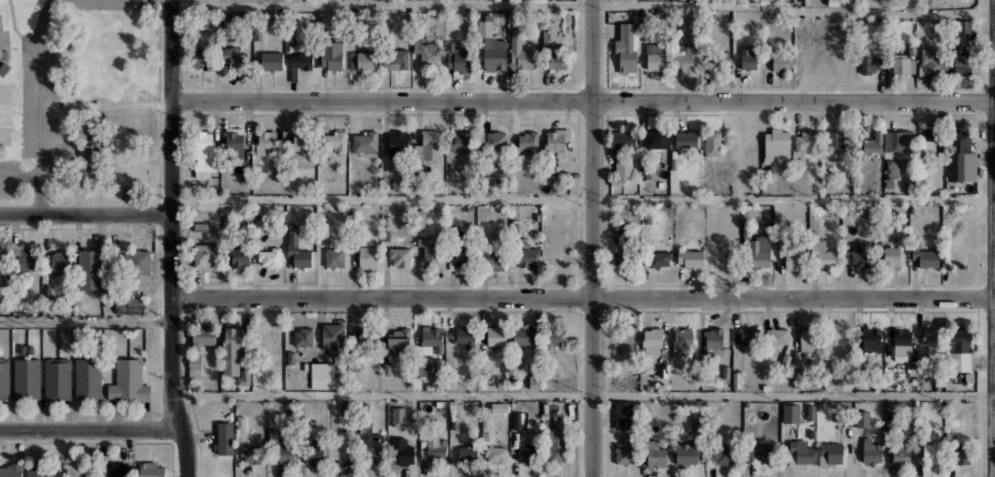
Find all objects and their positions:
building: (833, 2)
road: (583, 3)
parking lot: (115, 4)
building: (502, 16)
building: (713, 17)
building: (215, 20)
building: (501, 24)
building: (644, 27)
building: (484, 28)
building: (745, 34)
building: (416, 45)
building: (553, 46)
building: (627, 48)
building: (956, 48)
building: (680, 49)
building: (912, 49)
building: (429, 52)
building: (519, 52)
building: (332, 55)
building: (494, 55)
building: (655, 56)
building: (719, 58)
building: (932, 58)
building: (201, 59)
building: (237, 59)
building: (393, 59)
building: (748, 59)
building: (460, 60)
building: (696, 60)
building: (779, 60)
building: (270, 61)
building: (362, 61)
building: (965, 63)
building: (870, 64)
building: (901, 66)
building: (301, 67)
building: (4, 68)
building: (922, 69)
road: (583, 101)
park: (80, 102)
road: (38, 105)
parking lot: (35, 116)
building: (685, 137)
building: (496, 140)
building: (462, 141)
building: (527, 141)
building: (834, 141)
building: (933, 141)
building: (655, 142)
building: (715, 142)
building: (396, 143)
building: (872, 143)
building: (234, 144)
building: (558, 144)
building: (777, 144)
building: (809, 144)
building: (898, 144)
building: (267, 145)
building: (365, 145)
building: (431, 145)
building: (315, 146)
building: (205, 155)
building: (623, 156)
building: (921, 156)
building: (962, 157)
building: (674, 164)
building: (893, 175)
road: (39, 195)
road: (583, 198)
road: (994, 203)
building: (852, 211)
road: (85, 214)
building: (536, 217)
building: (647, 217)
building: (385, 221)
building: (227, 222)
building: (621, 226)
building: (200, 227)
building: (514, 228)
building: (324, 230)
building: (745, 230)
building: (880, 231)
building: (451, 233)
building: (386, 235)
road: (593, 238)
road: (172, 240)
building: (292, 240)
building: (523, 242)
building: (782, 247)
building: (915, 247)
building: (625, 249)
building: (241, 252)
building: (430, 252)
building: (760, 252)
building: (206, 254)
building: (822, 254)
building: (400, 255)
building: (466, 255)
building: (303, 256)
building: (860, 256)
building: (334, 257)
building: (368, 257)
building: (529, 257)
building: (844, 257)
building: (271, 258)
building: (657, 258)
building: (690, 258)
building: (892, 258)
building: (928, 258)
building: (494, 259)
building: (27, 260)
building: (794, 260)
building: (6, 261)
building: (60, 262)
building: (89, 270)
building: (130, 271)
road: (583, 299)
building: (128, 305)
road: (86, 322)
building: (464, 335)
building: (748, 335)
building: (204, 336)
building: (365, 336)
building: (522, 337)
building: (775, 337)
building: (495, 338)
building: (432, 340)
building: (401, 341)
building: (928, 341)
building: (714, 342)
building: (841, 343)
building: (872, 343)
building: (902, 343)
building: (652, 344)
building: (809, 344)
building: (559, 345)
building: (683, 345)
building: (22, 349)
building: (30, 349)
building: (315, 349)
building: (890, 349)
building: (231, 350)
building: (959, 352)
building: (785, 360)
building: (859, 364)
building: (675, 365)
building: (194, 368)
building: (387, 369)
building: (421, 369)
building: (911, 369)
building: (662, 371)
building: (245, 372)
building: (725, 374)
building: (654, 375)
building: (969, 377)
building: (26, 379)
building: (57, 379)
building: (88, 379)
building: (534, 379)
building: (736, 379)
building: (4, 380)
building: (128, 381)
building: (648, 387)
building: (766, 387)
road: (583, 395)
building: (821, 406)
building: (499, 407)
building: (354, 410)
building: (545, 410)
building: (811, 412)
building: (792, 413)
building: (626, 414)
building: (400, 418)
building: (863, 419)
building: (516, 420)
building: (760, 421)
building: (241, 422)
building: (455, 422)
building: (485, 422)
building: (920, 423)
building: (893, 425)
road: (91, 427)
building: (811, 433)
building: (483, 435)
building: (225, 438)
building: (556, 441)
building: (376, 449)
building: (873, 450)
building: (403, 451)
building: (433, 451)
building: (901, 451)
building: (315, 452)
building: (761, 452)
building: (527, 453)
building: (658, 453)
building: (687, 453)
building: (836, 453)
building: (251, 454)
building: (282, 454)
building: (496, 454)
building: (629, 454)
building: (802, 454)
building: (949, 454)
building: (469, 455)
building: (719, 457)
building: (81, 469)
building: (116, 469)
building: (152, 469)
building: (11, 470)
building: (39, 470)

